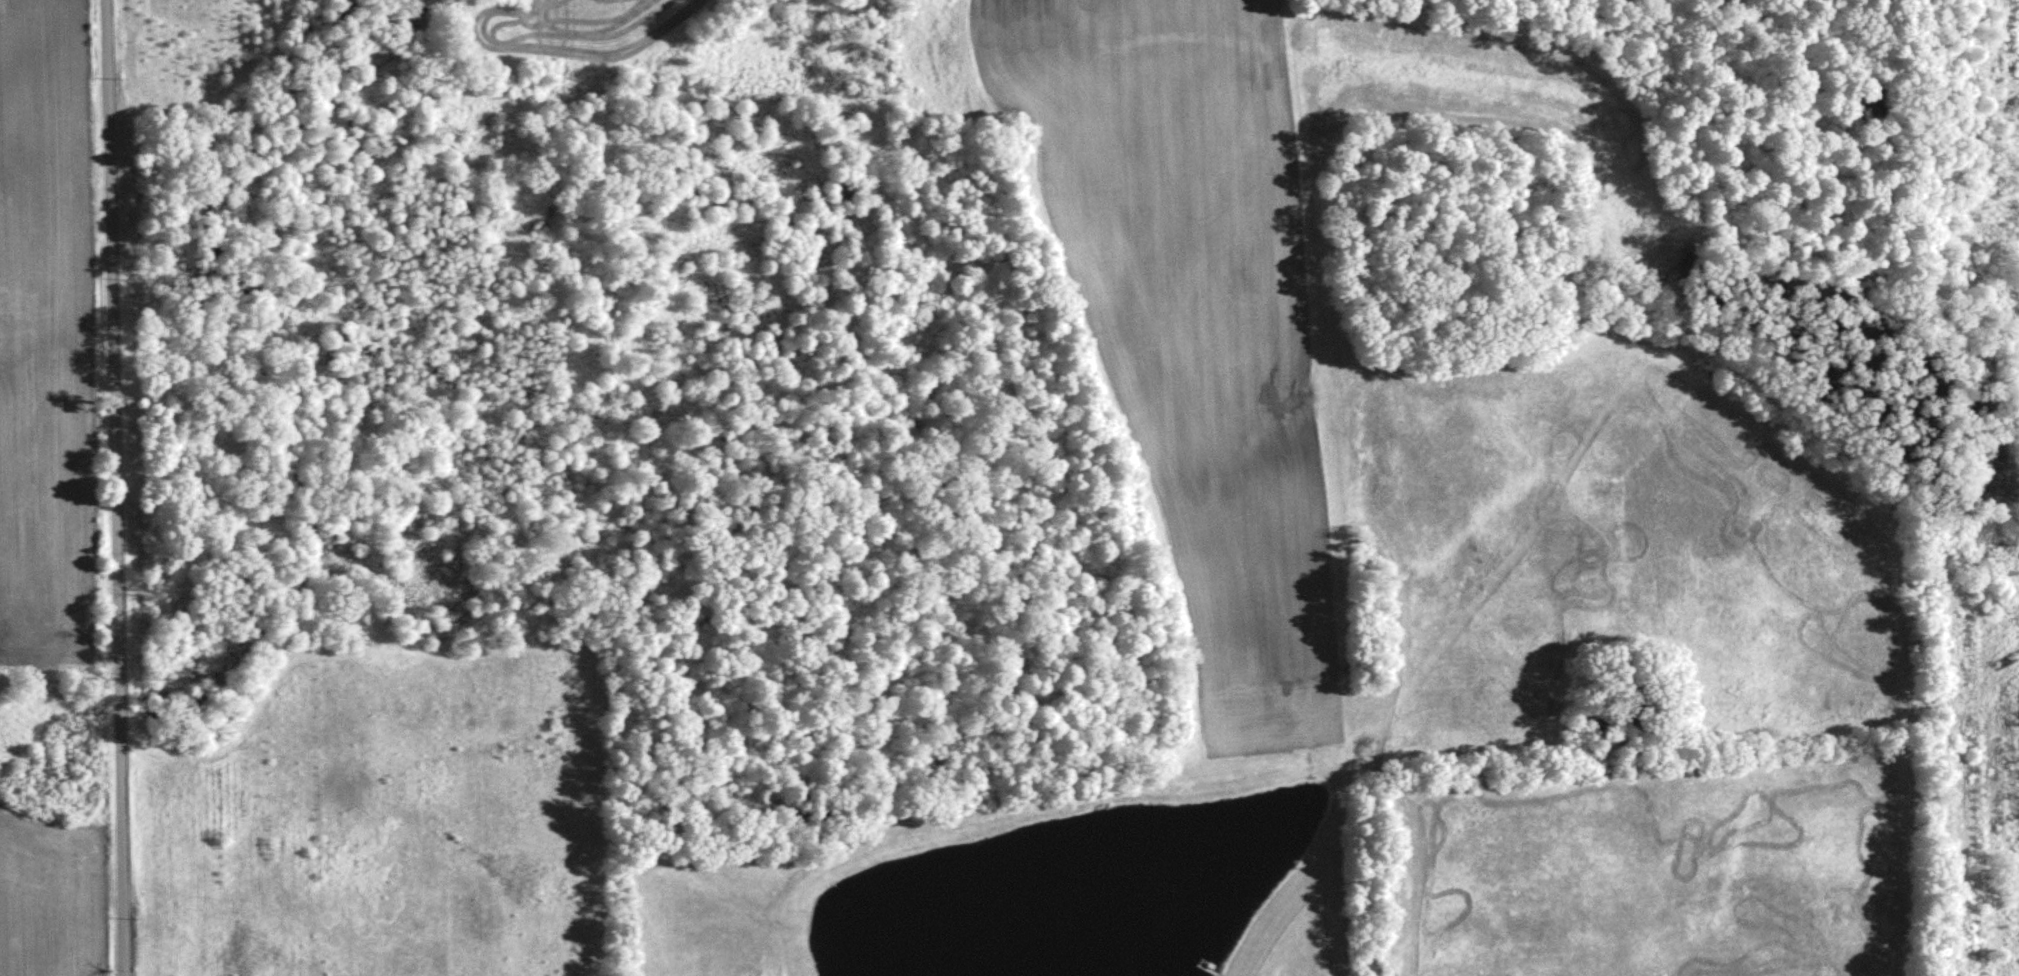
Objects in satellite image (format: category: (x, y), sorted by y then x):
road: (114, 488)

